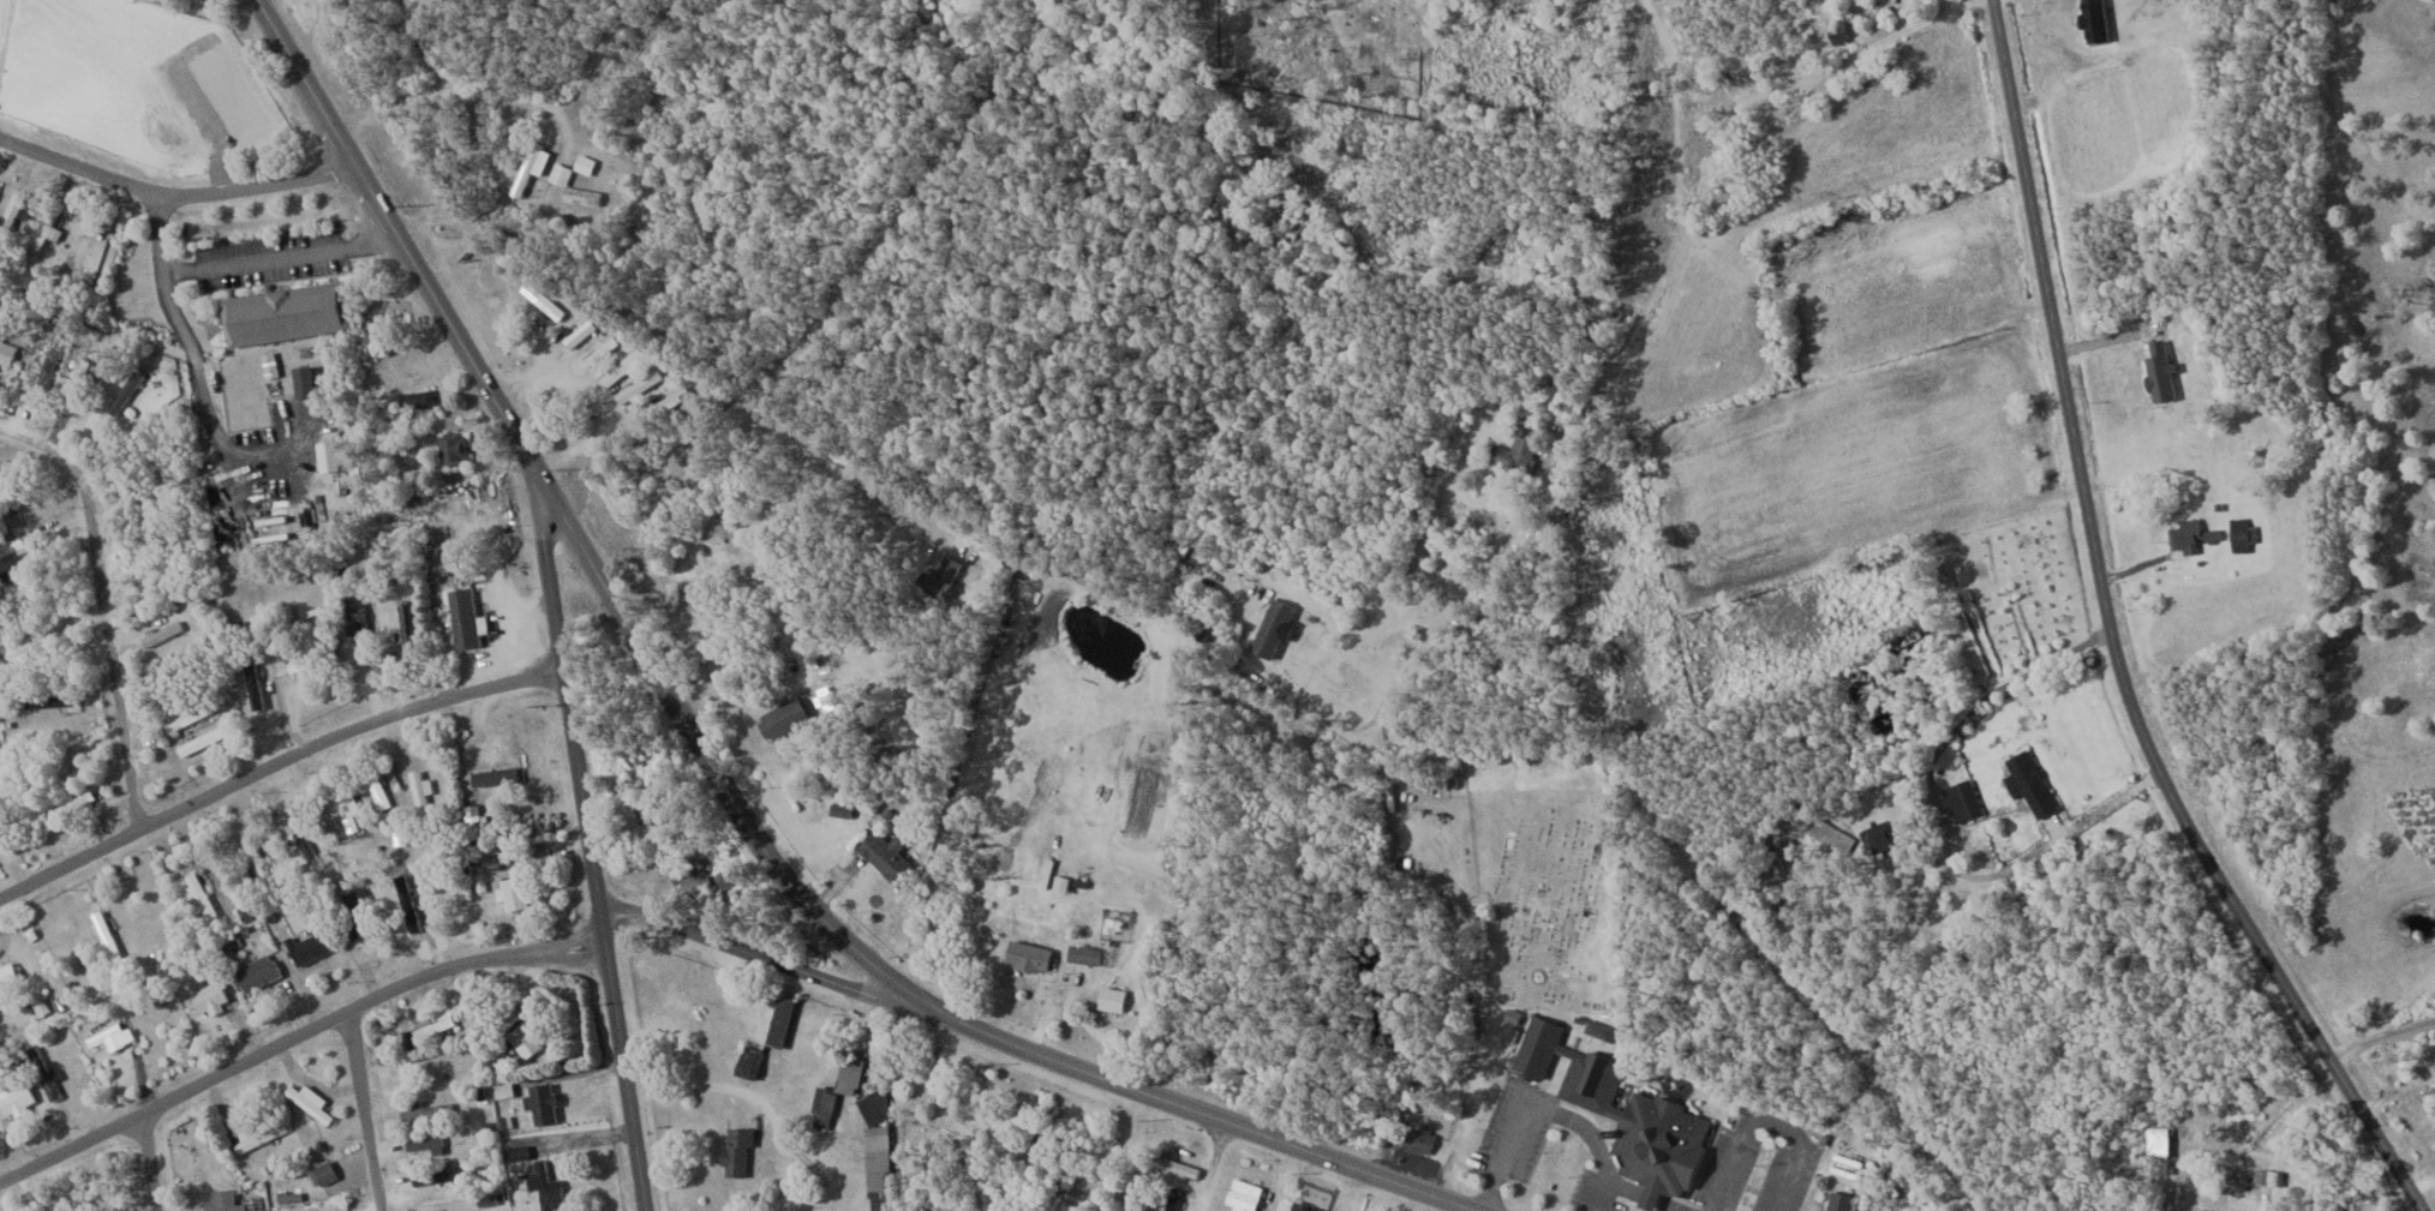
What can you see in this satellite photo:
building: (2118, 1)
park: (199, 7)
road: (1650, 47)
road: (460, 91)
building: (582, 162)
building: (564, 184)
road: (174, 194)
building: (43, 234)
building: (540, 299)
building: (285, 312)
building: (578, 332)
building: (6, 349)
building: (598, 352)
building: (620, 366)
building: (303, 379)
building: (645, 380)
building: (414, 397)
building: (451, 448)
building: (1514, 454)
building: (10, 499)
road: (1521, 516)
building: (2240, 533)
building: (2189, 535)
building: (14, 545)
building: (713, 550)
building: (1423, 559)
building: (937, 577)
road: (103, 607)
building: (354, 612)
building: (463, 617)
building: (403, 619)
building: (1270, 627)
building: (162, 633)
road: (2112, 640)
building: (20, 654)
building: (295, 659)
building: (52, 700)
building: (186, 715)
building: (780, 718)
building: (201, 741)
road: (273, 765)
road: (714, 774)
building: (493, 775)
building: (2028, 781)
building: (377, 790)
building: (420, 790)
building: (1962, 799)
building: (70, 805)
building: (347, 809)
building: (645, 811)
building: (299, 826)
road: (588, 846)
building: (886, 856)
building: (489, 857)
building: (253, 859)
building: (689, 876)
building: (728, 888)
building: (511, 893)
building: (197, 898)
building: (357, 917)
building: (104, 935)
building: (309, 948)
building: (1083, 953)
building: (1027, 955)
road: (782, 969)
building: (256, 971)
building: (8, 979)
building: (209, 994)
building: (1109, 997)
building: (432, 1025)
building: (764, 1029)
building: (1598, 1029)
building: (521, 1033)
building: (109, 1036)
road: (298, 1036)
building: (1536, 1045)
building: (44, 1071)
building: (1589, 1073)
building: (837, 1086)
building: (14, 1095)
building: (309, 1101)
building: (542, 1103)
road: (1544, 1108)
building: (424, 1109)
road: (366, 1111)
road: (1764, 1119)
building: (259, 1132)
building: (1419, 1138)
building: (423, 1144)
building: (1657, 1146)
building: (875, 1149)
building: (735, 1150)
road: (149, 1163)
road: (1217, 1168)
building: (323, 1173)
building: (441, 1175)
building: (544, 1185)
building: (1240, 1195)
road: (1651, 1199)
building: (222, 1200)
building: (1169, 1203)
building: (1302, 1206)
road: (1668, 1206)
building: (466, 1210)

